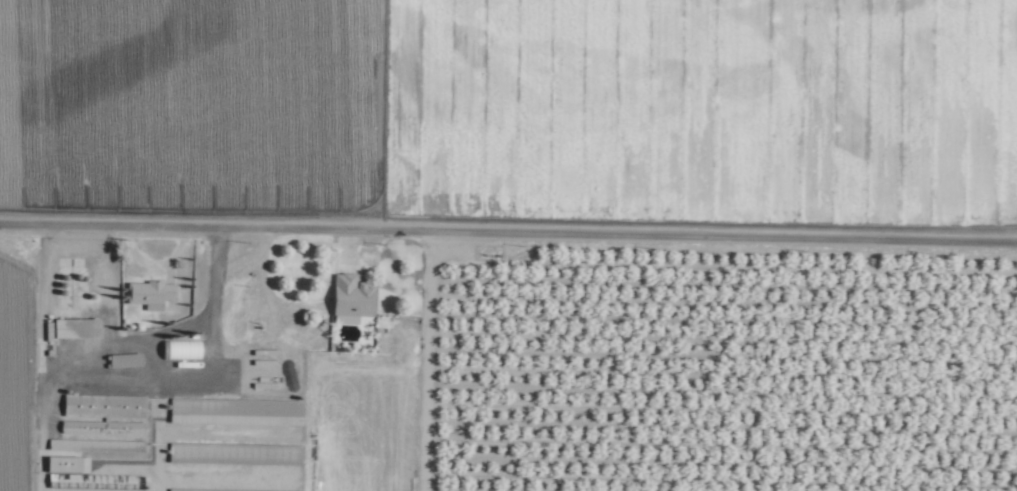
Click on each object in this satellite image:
road: (508, 249)
building: (146, 294)
building: (346, 295)
road: (38, 368)
building: (236, 411)
building: (64, 464)

